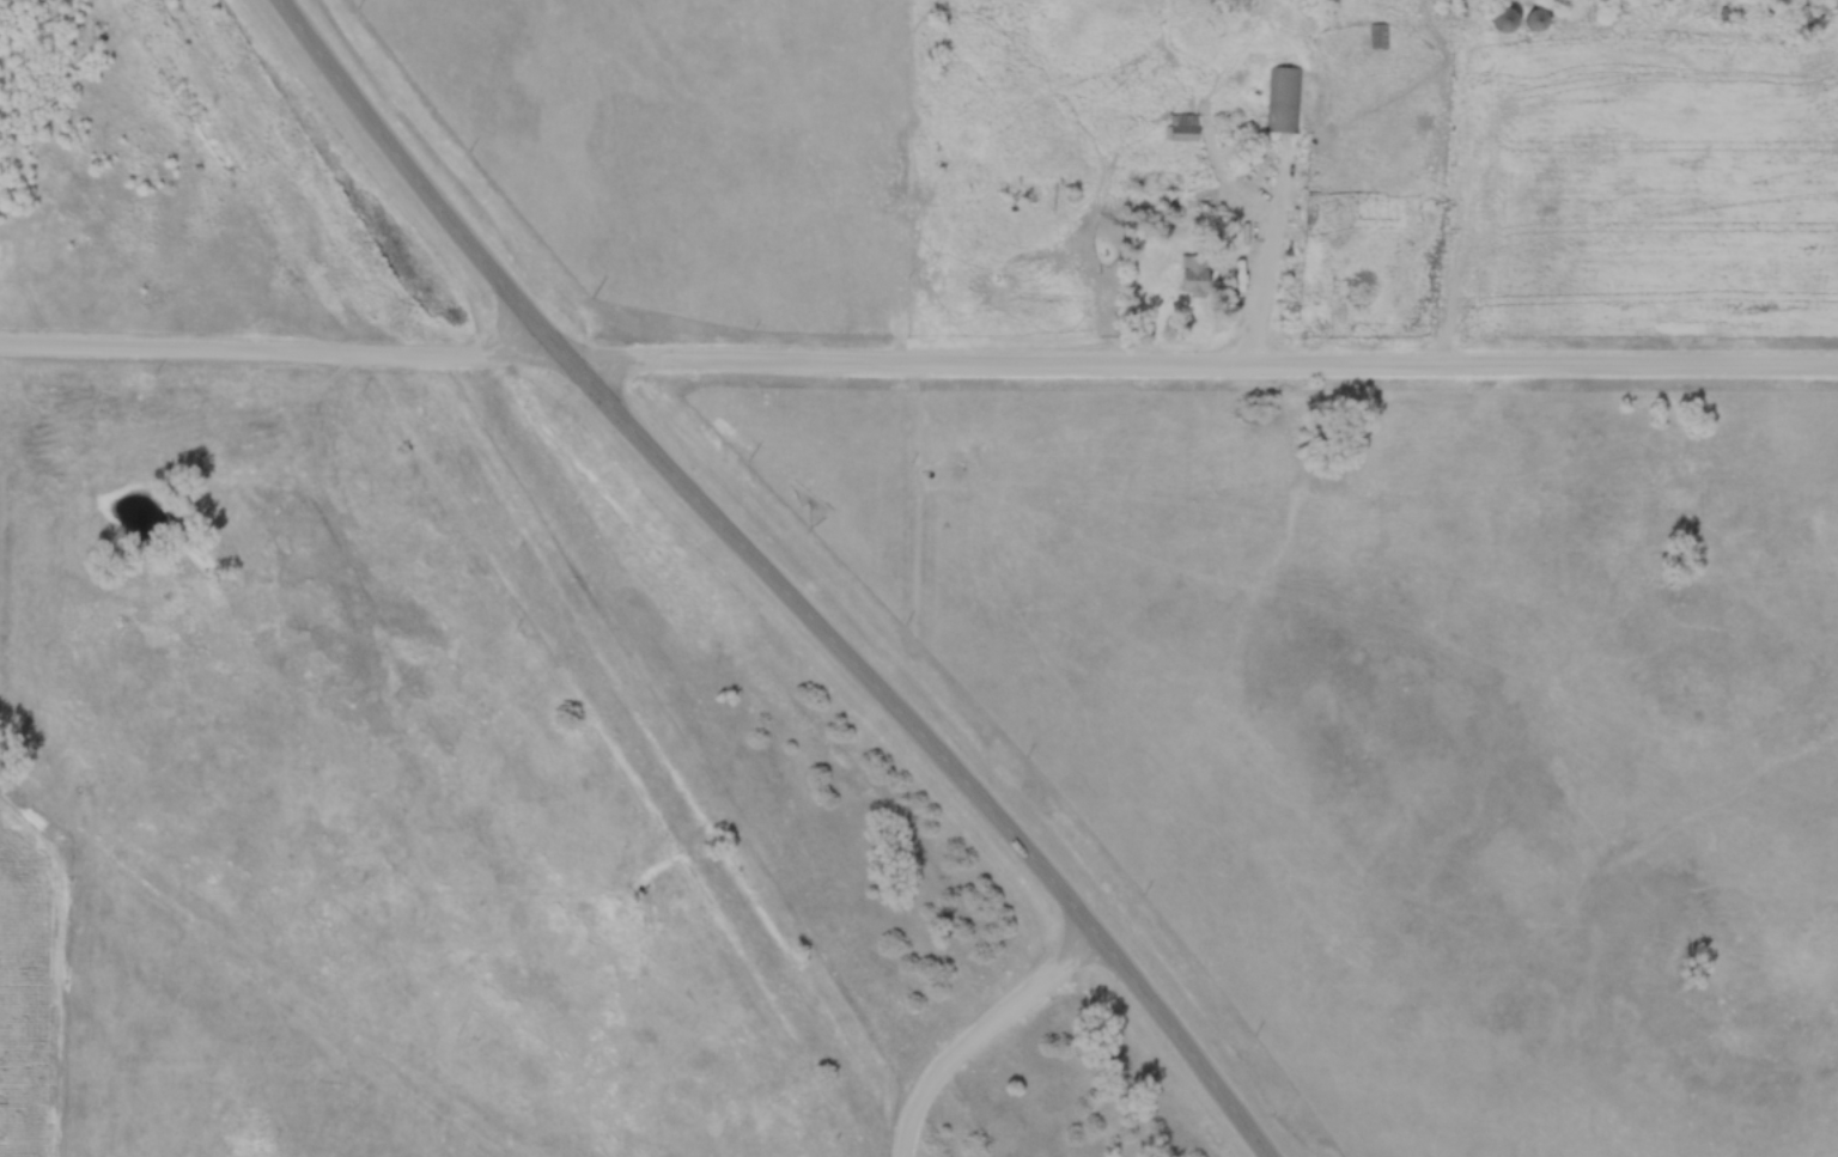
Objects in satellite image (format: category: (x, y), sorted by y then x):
building: (1504, 22)
building: (1535, 22)
building: (1375, 37)
building: (1278, 101)
building: (1180, 129)
road: (1268, 267)
building: (1191, 276)
road: (282, 357)
road: (1201, 367)
road: (771, 579)
road: (984, 1036)

